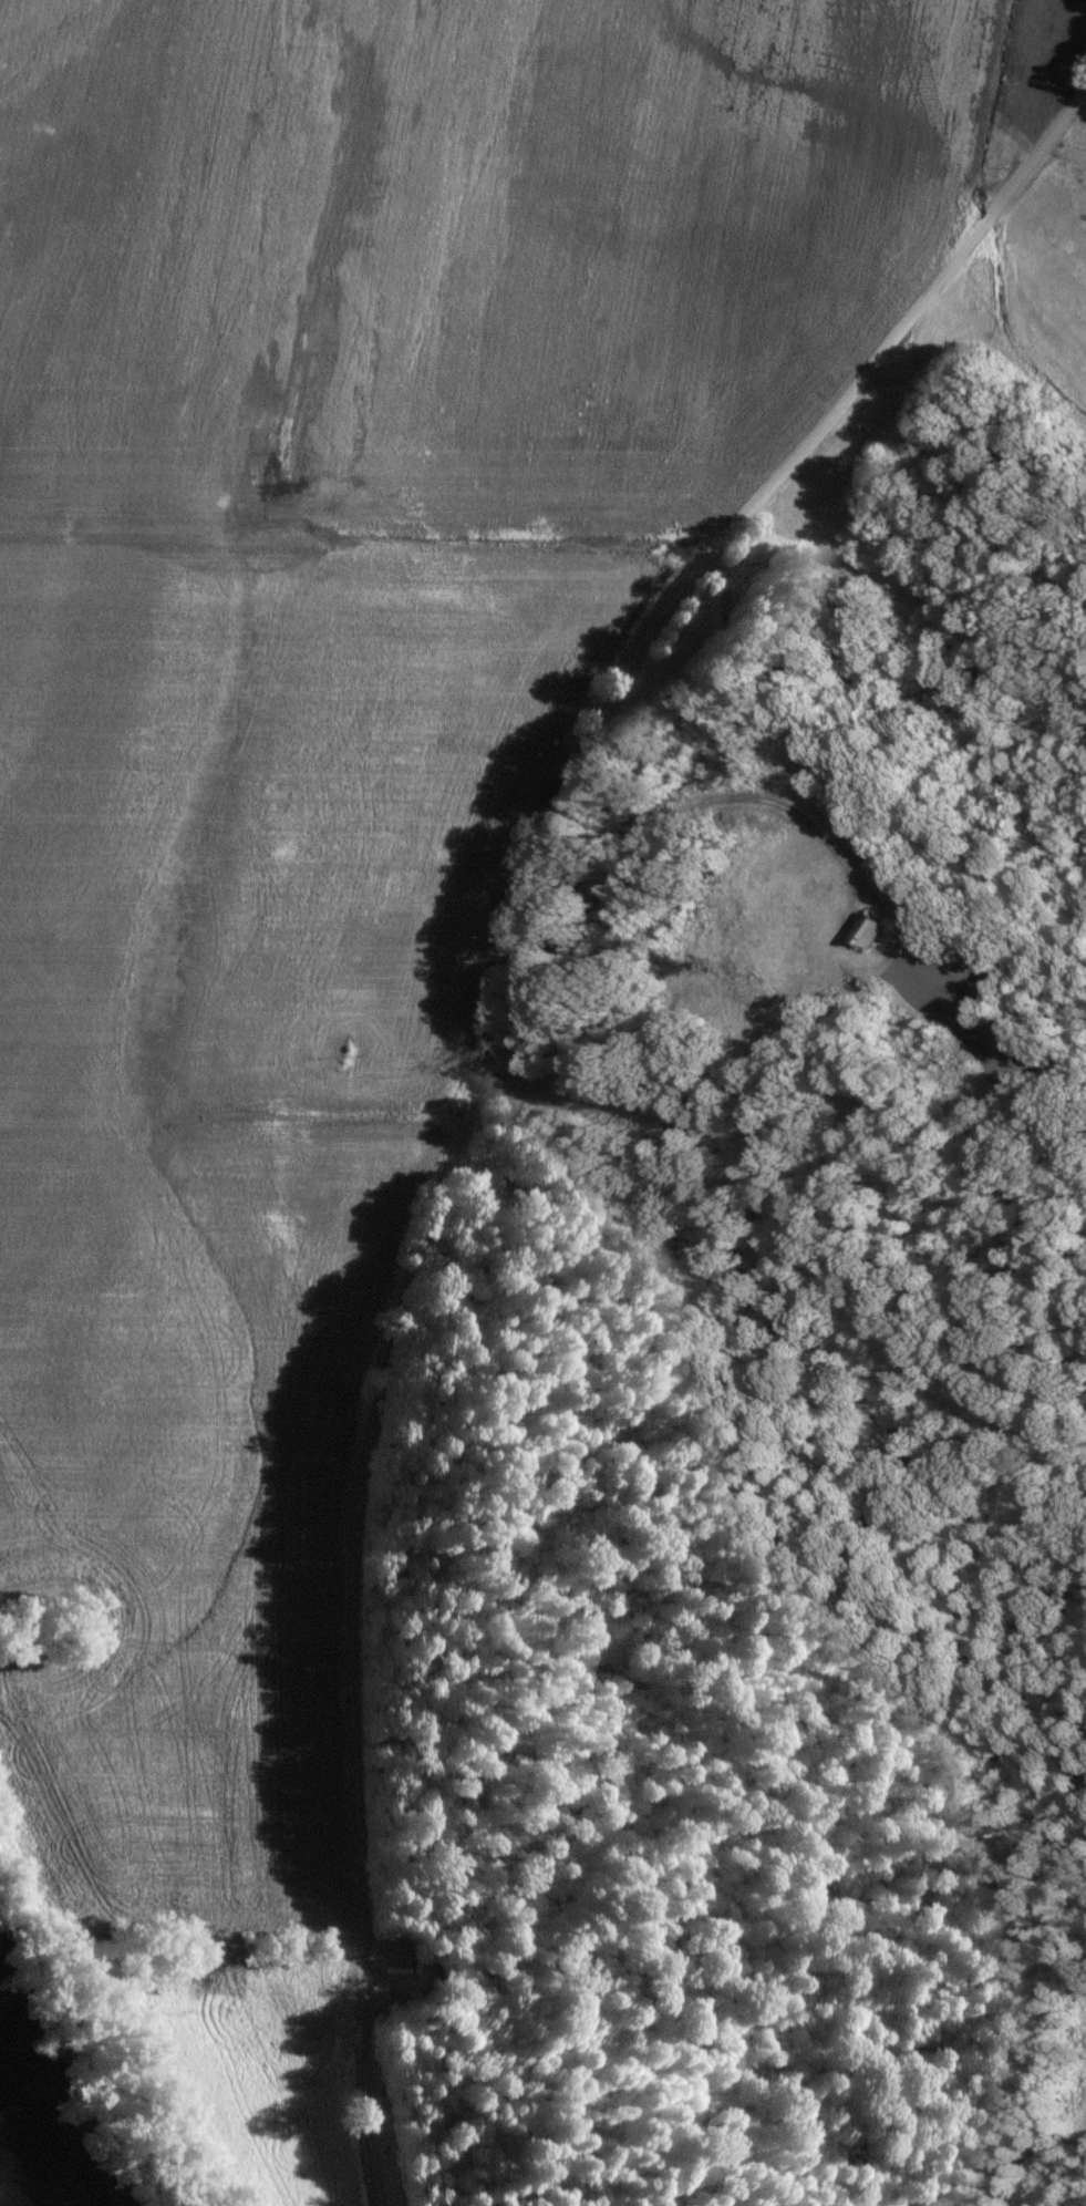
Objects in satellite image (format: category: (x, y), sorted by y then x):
building: (862, 931)
building: (737, 975)
road: (474, 1065)
building: (528, 1090)
river: (19, 2168)

